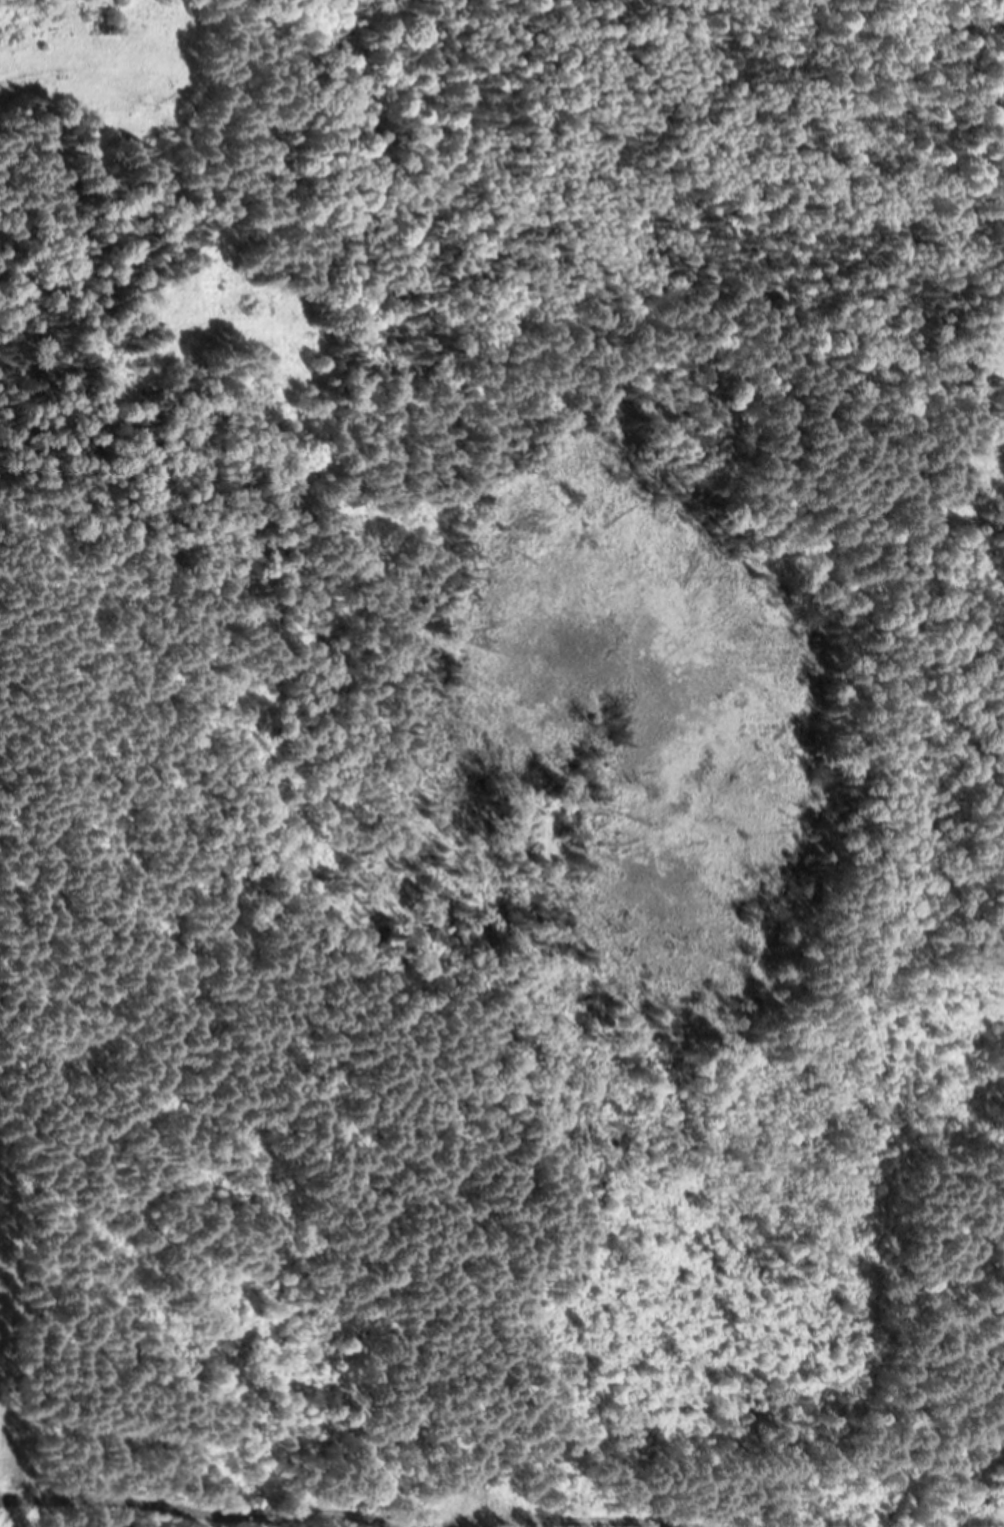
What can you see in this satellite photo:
road: (985, 1404)
road: (307, 1521)

